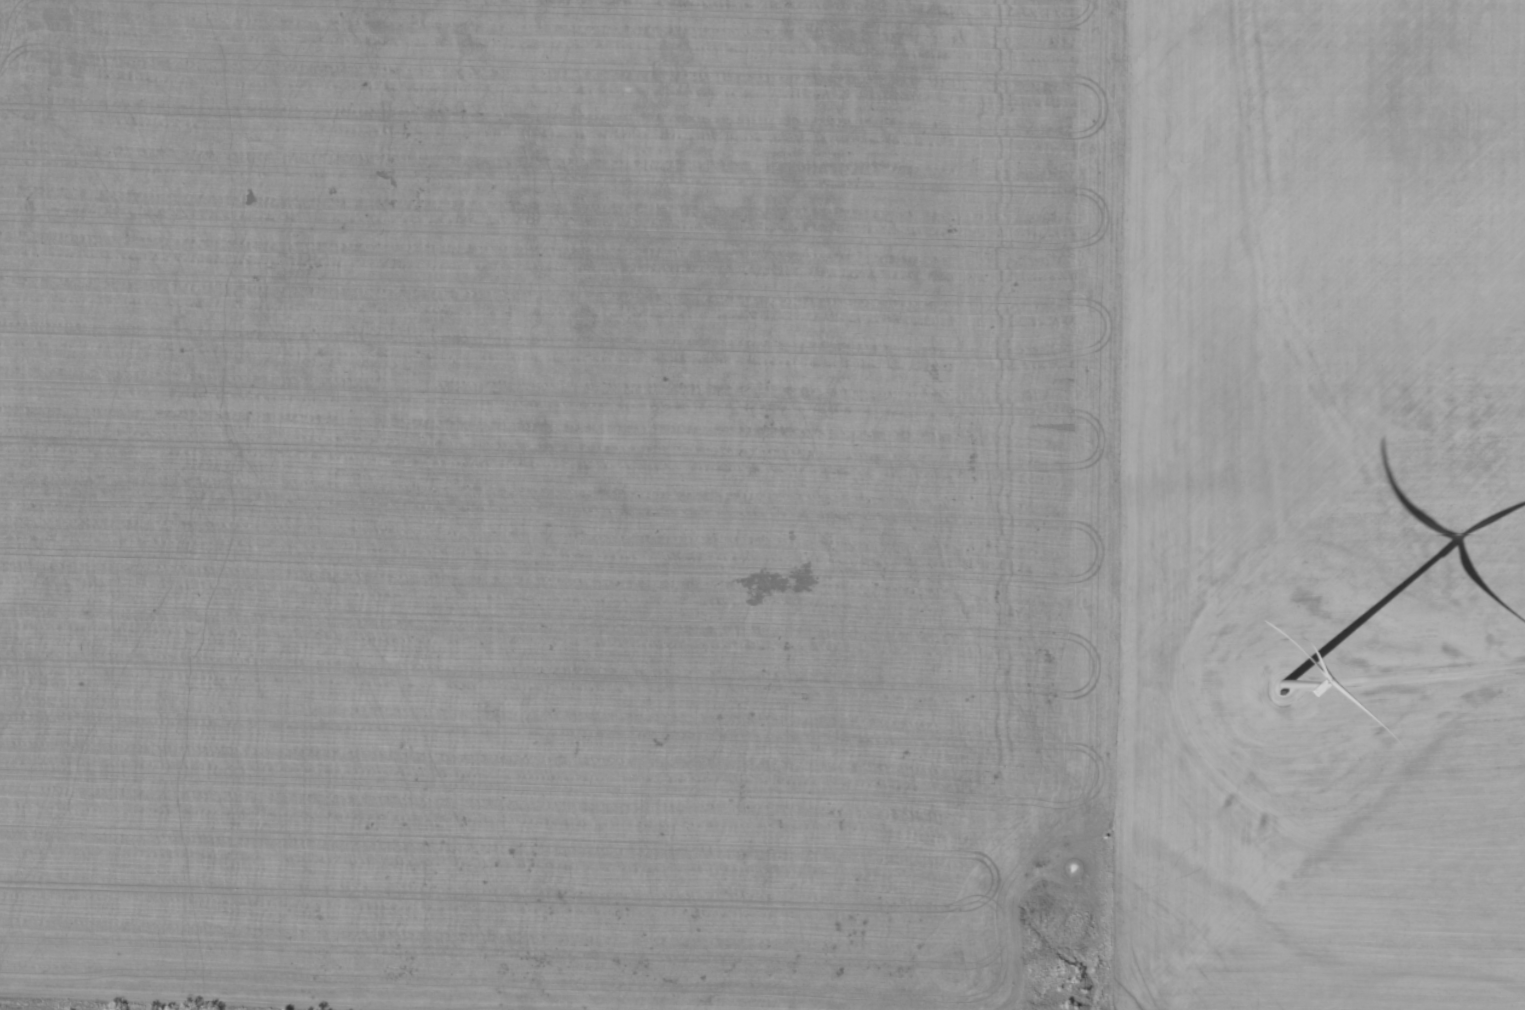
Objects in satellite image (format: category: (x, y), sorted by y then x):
wind turbine: (1289, 691)

